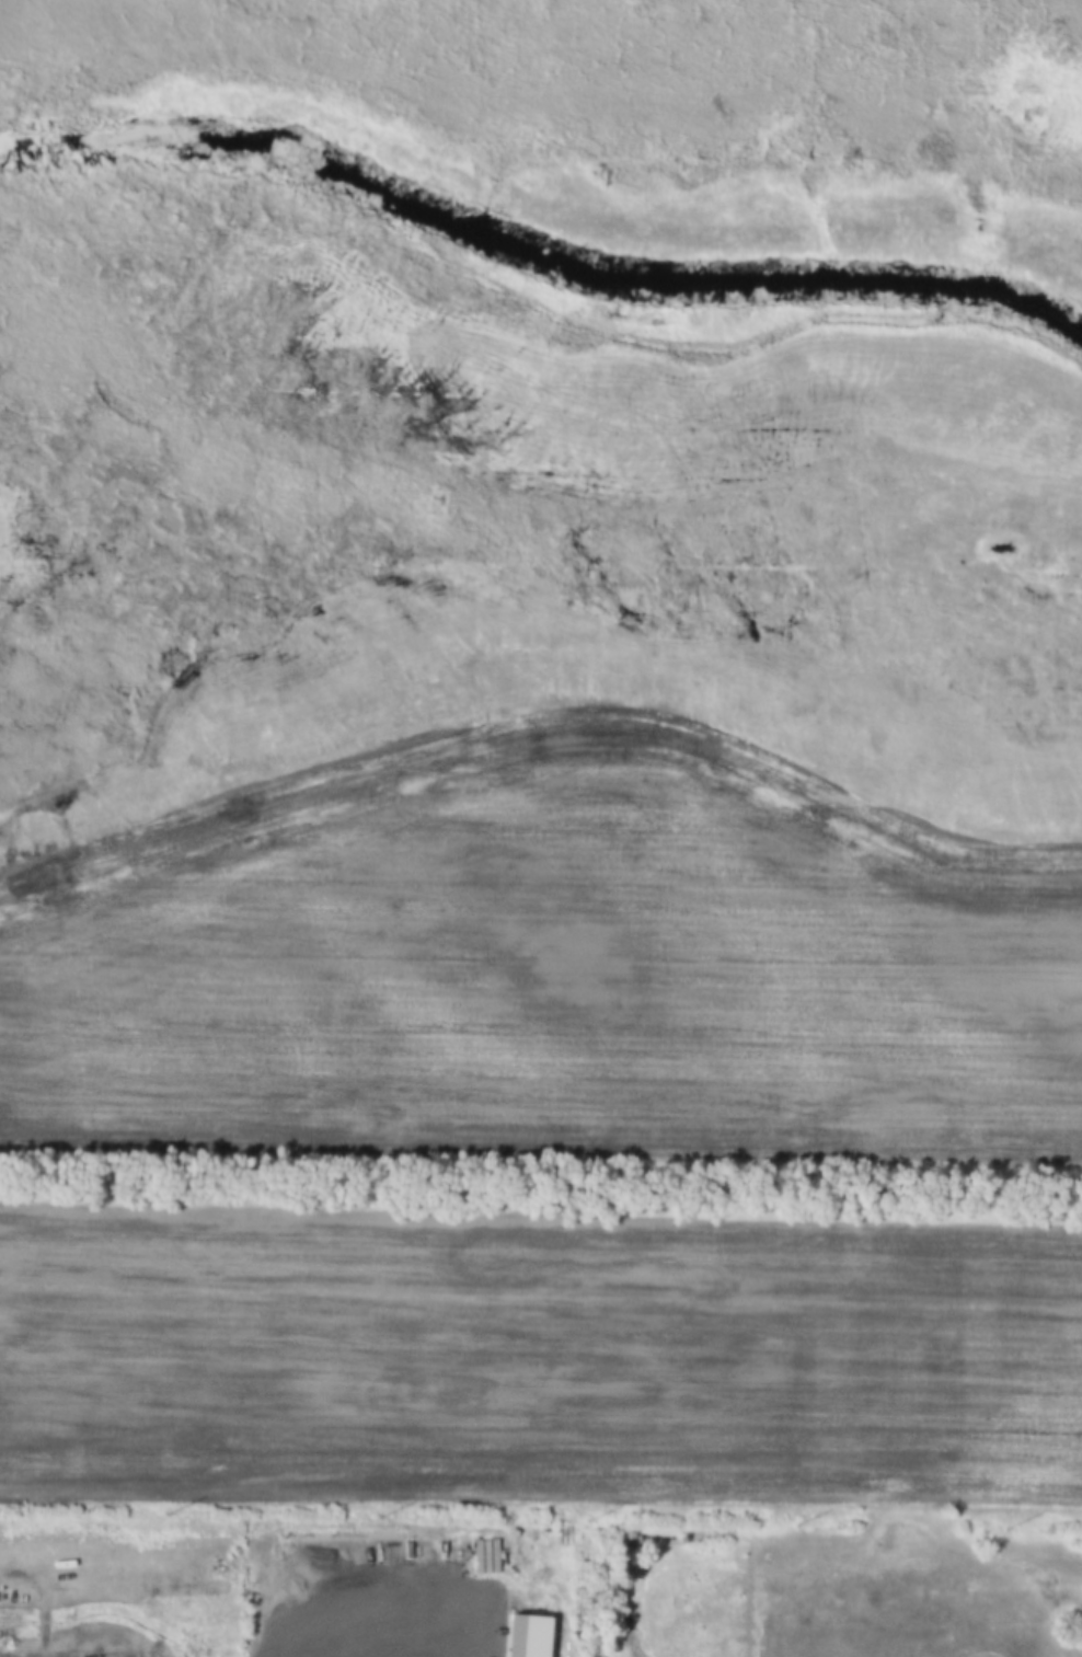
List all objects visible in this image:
building: (561, 1534)
building: (629, 1537)
building: (636, 1540)
building: (287, 1557)
building: (530, 1631)

